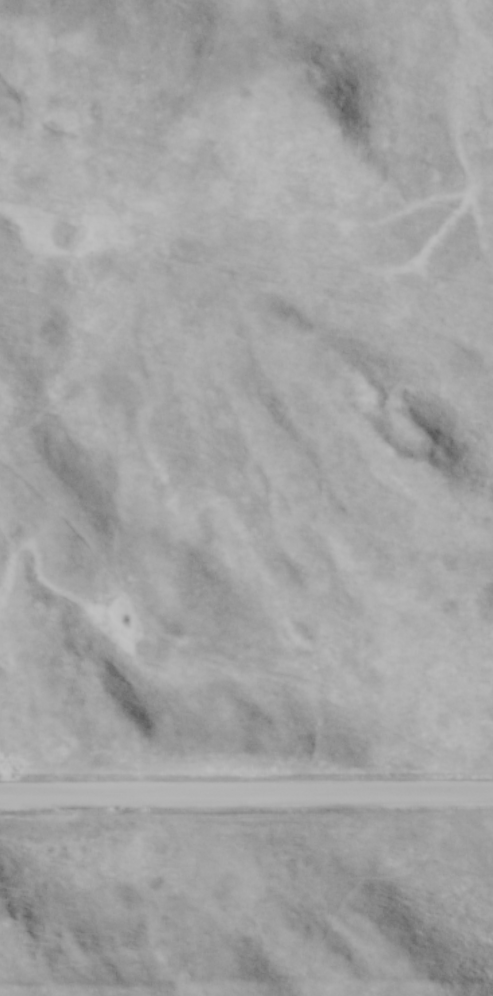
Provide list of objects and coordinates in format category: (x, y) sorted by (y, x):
road: (246, 797)

